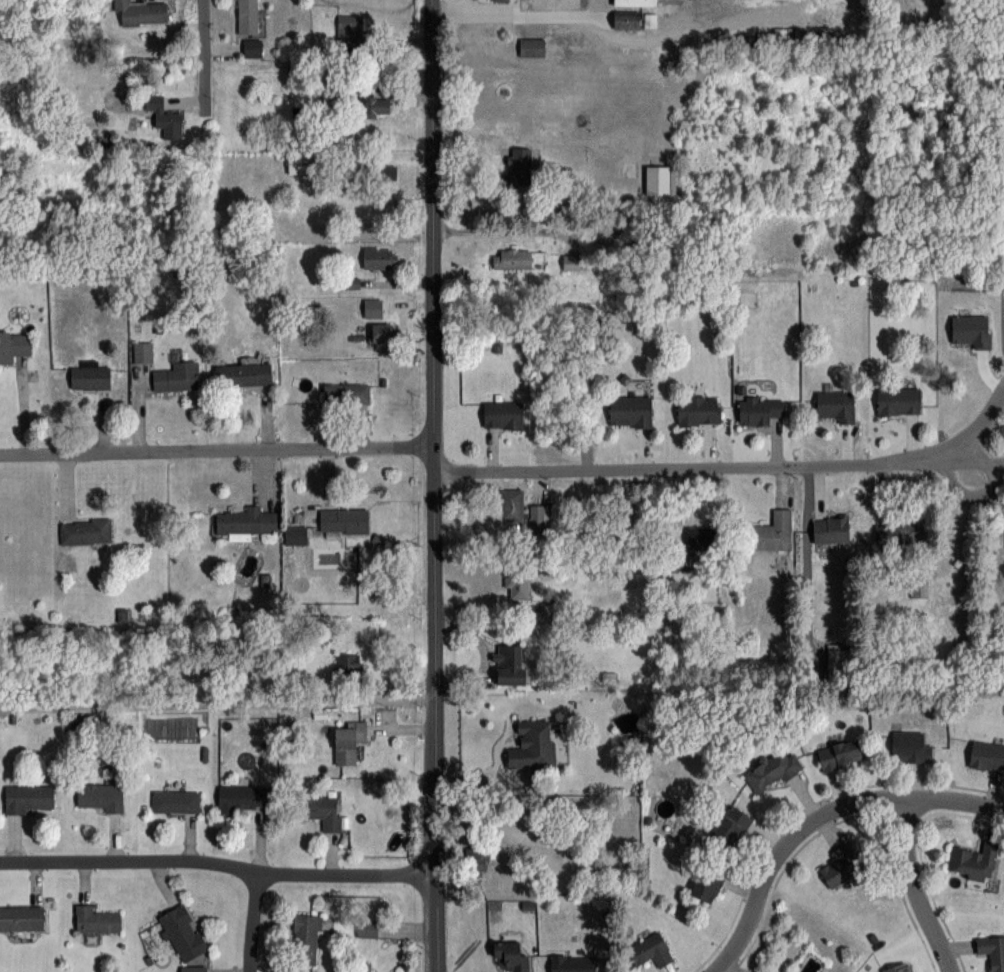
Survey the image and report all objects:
building: (635, 2)
building: (142, 12)
road: (558, 15)
building: (247, 16)
building: (626, 19)
building: (349, 29)
building: (531, 46)
building: (252, 47)
road: (204, 103)
building: (375, 105)
building: (164, 117)
building: (628, 138)
building: (301, 163)
building: (519, 165)
building: (628, 168)
building: (386, 171)
road: (502, 231)
building: (379, 257)
building: (515, 258)
building: (348, 283)
building: (372, 307)
building: (381, 332)
building: (14, 345)
building: (142, 352)
building: (91, 374)
building: (243, 374)
building: (177, 377)
building: (346, 392)
building: (899, 401)
building: (835, 405)
building: (630, 410)
building: (698, 410)
building: (759, 410)
building: (503, 415)
road: (217, 448)
road: (996, 463)
road: (732, 466)
road: (434, 485)
road: (987, 492)
road: (1000, 495)
building: (520, 511)
building: (343, 520)
building: (246, 521)
building: (831, 528)
building: (772, 531)
building: (895, 533)
building: (296, 535)
building: (700, 537)
building: (517, 586)
building: (919, 586)
building: (838, 655)
building: (348, 663)
building: (510, 664)
road: (218, 702)
building: (348, 741)
building: (532, 746)
building: (909, 747)
building: (987, 754)
building: (840, 755)
building: (771, 770)
building: (101, 796)
building: (29, 798)
building: (238, 798)
building: (175, 801)
building: (324, 810)
road: (816, 816)
building: (730, 827)
road: (219, 859)
building: (973, 861)
building: (475, 864)
building: (841, 867)
building: (706, 884)
road: (913, 888)
building: (21, 917)
building: (96, 919)
road: (253, 920)
building: (367, 928)
building: (182, 933)
building: (306, 939)
building: (650, 950)
building: (992, 952)
building: (510, 957)
building: (572, 963)
building: (899, 968)
building: (192, 970)

